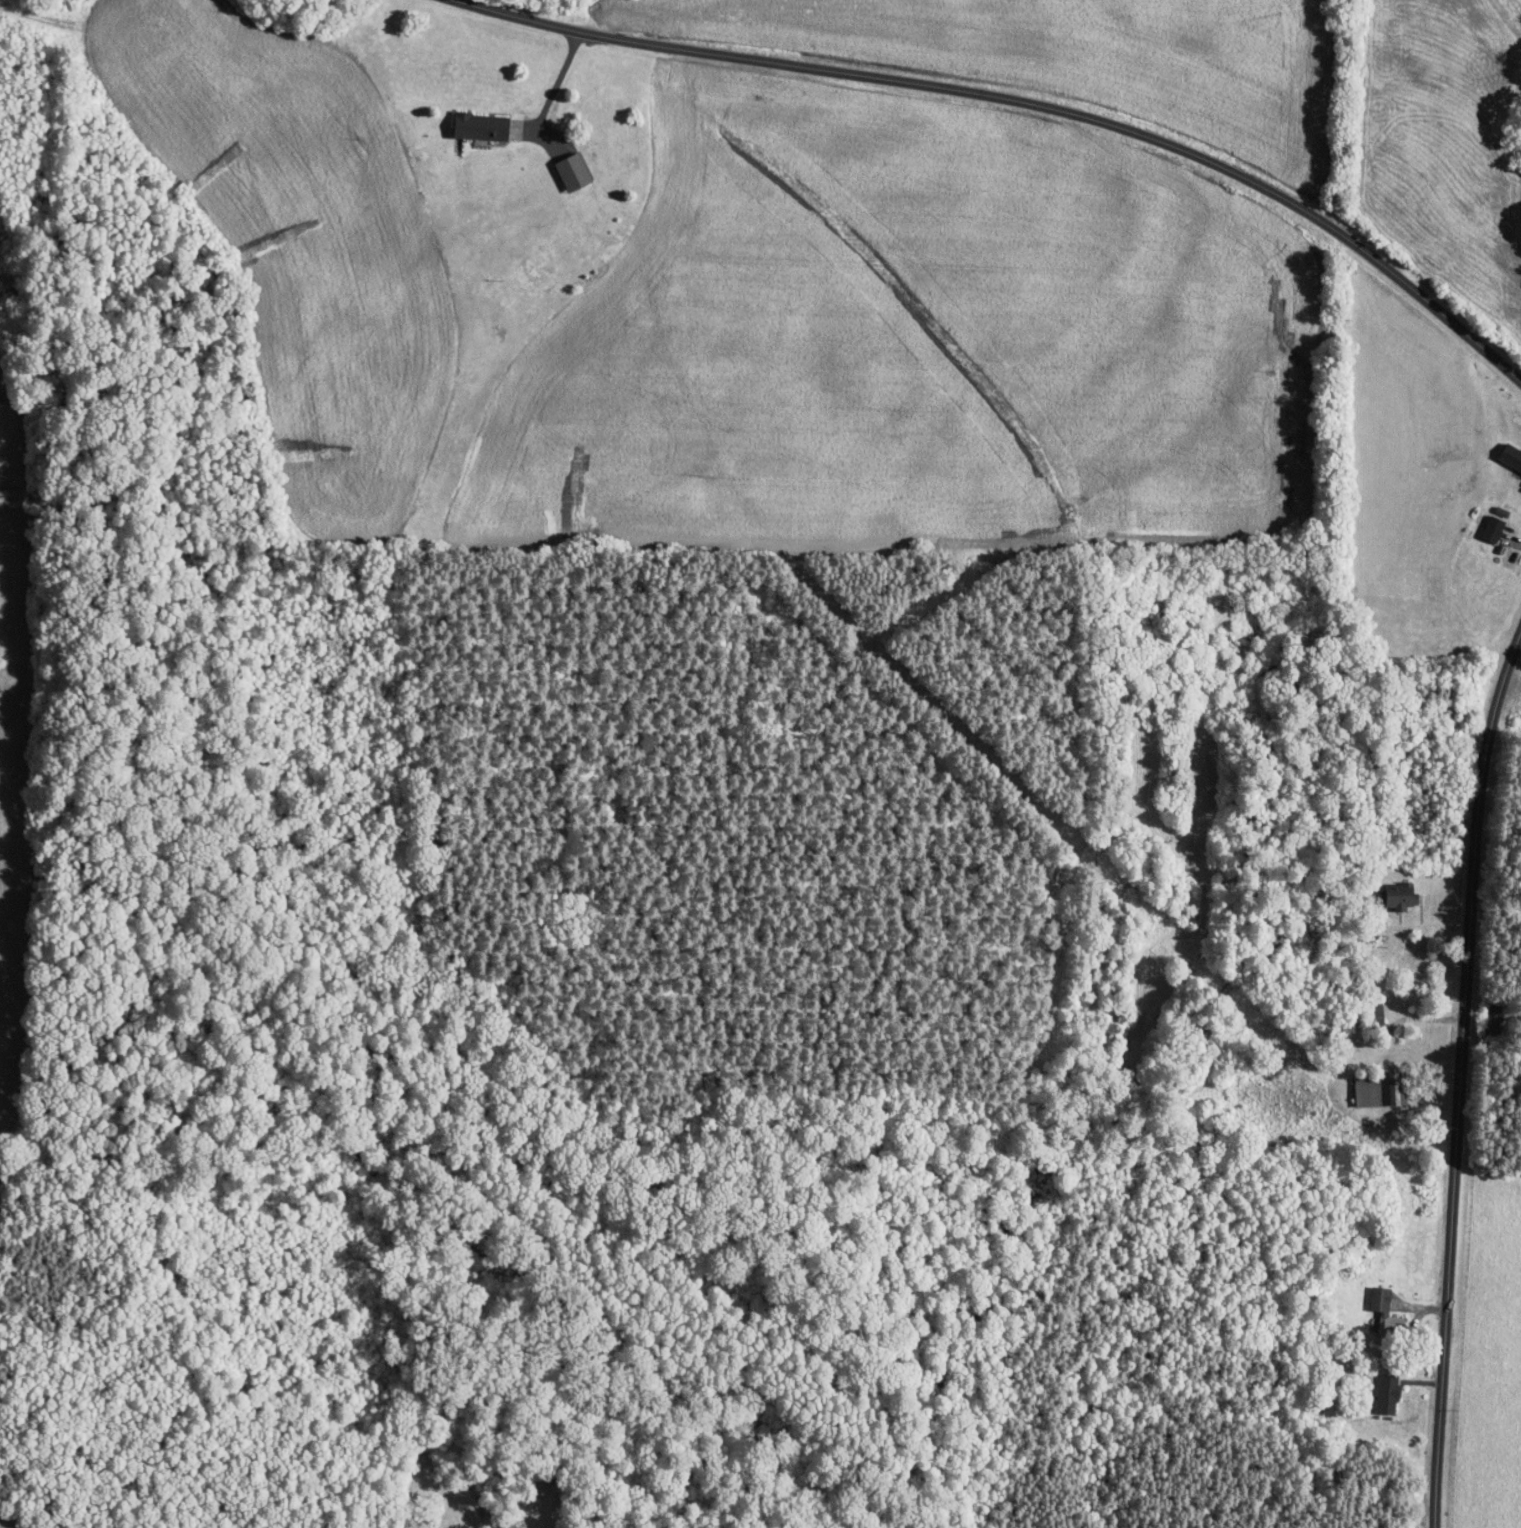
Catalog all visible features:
road: (558, 80)
road: (1027, 102)
building: (480, 125)
building: (572, 171)
road: (823, 386)
building: (1511, 455)
building: (1493, 528)
building: (1400, 895)
road: (1458, 1069)
building: (1387, 1314)
building: (1389, 1396)

